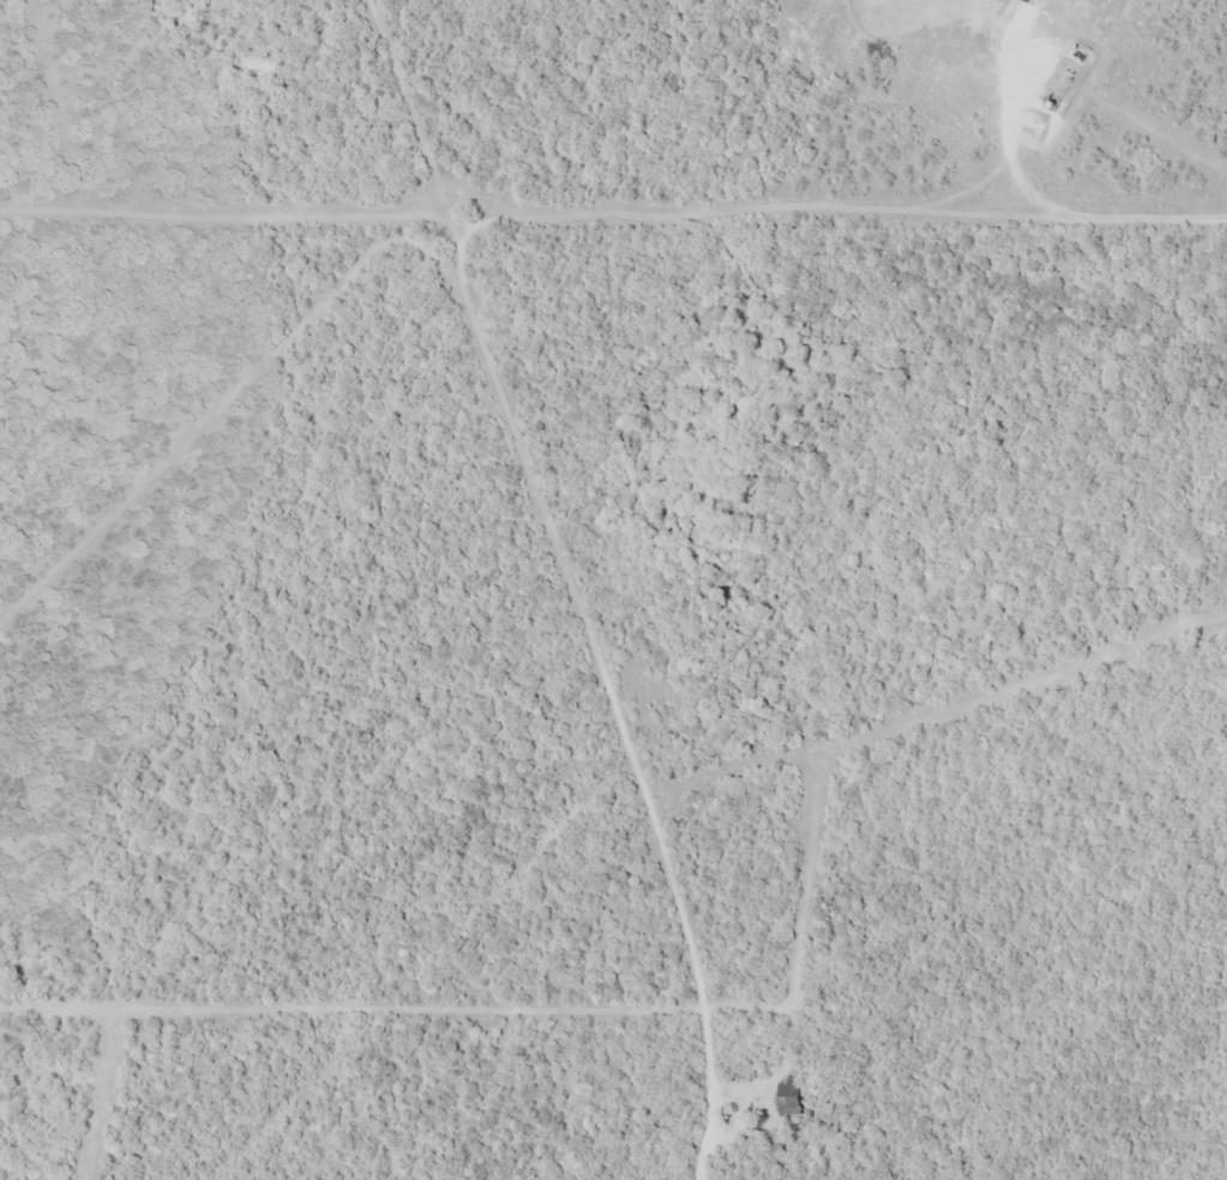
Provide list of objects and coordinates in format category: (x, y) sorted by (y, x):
building: (789, 1098)
road: (708, 1139)

